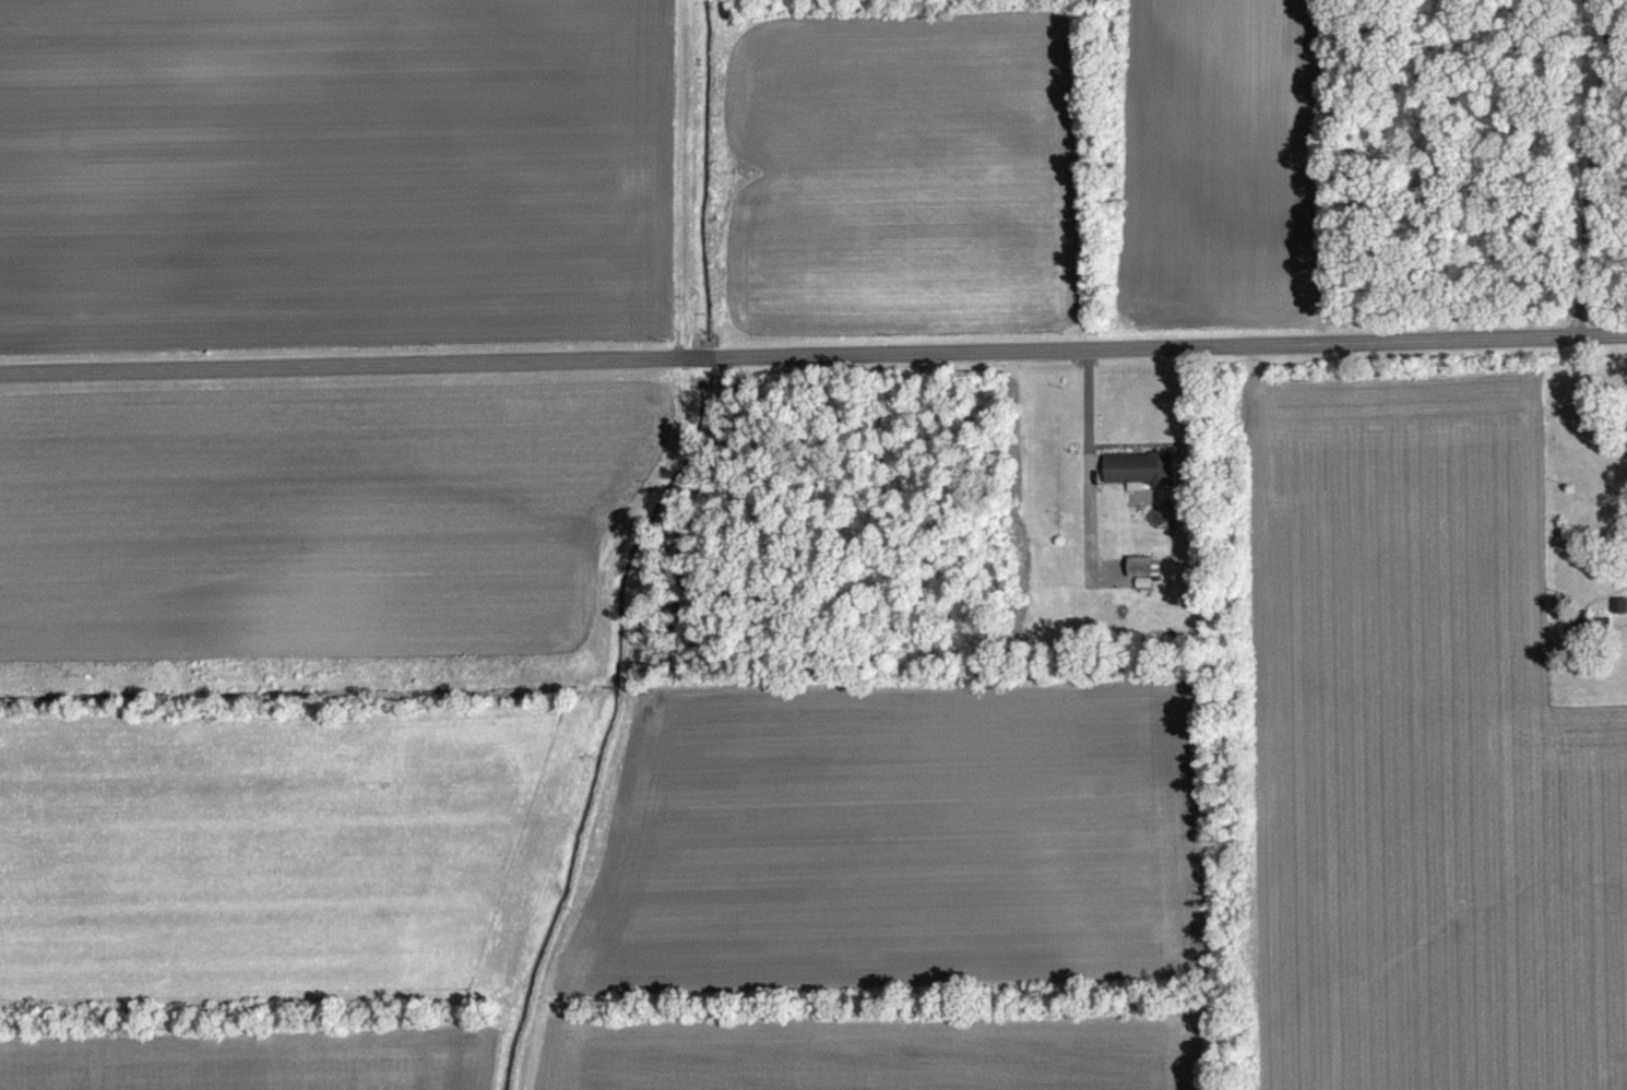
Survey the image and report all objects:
road: (1591, 168)
road: (813, 357)
road: (1085, 420)
building: (1137, 481)
building: (1139, 582)

